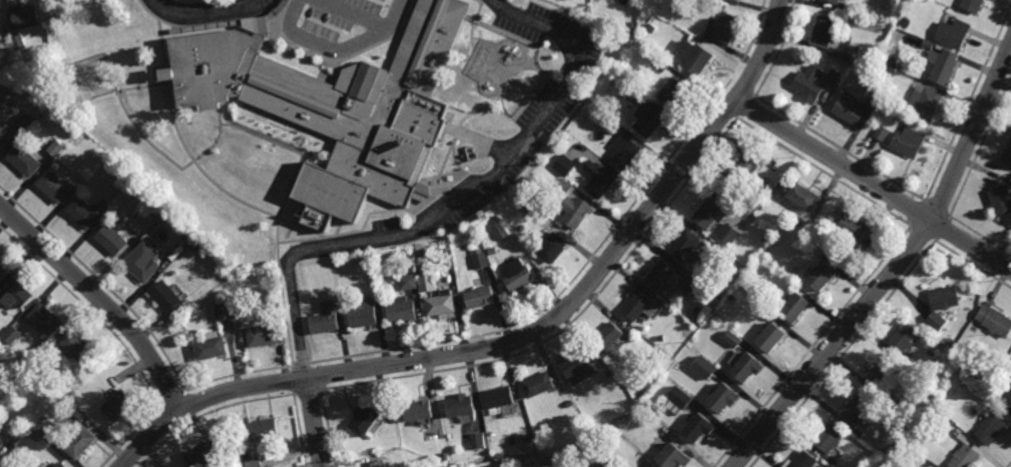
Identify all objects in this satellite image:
building: (834, 1)
building: (971, 5)
building: (512, 7)
road: (207, 12)
building: (24, 14)
building: (499, 26)
building: (724, 26)
building: (650, 27)
building: (822, 30)
building: (577, 31)
building: (951, 33)
building: (18, 41)
building: (927, 46)
road: (335, 49)
building: (529, 53)
building: (488, 55)
building: (567, 55)
building: (692, 56)
building: (846, 56)
building: (659, 63)
building: (942, 65)
building: (18, 69)
building: (833, 76)
building: (478, 79)
building: (557, 84)
building: (807, 84)
building: (446, 89)
building: (672, 92)
building: (633, 94)
building: (924, 104)
building: (337, 107)
building: (854, 107)
building: (547, 108)
building: (505, 111)
building: (26, 119)
building: (647, 119)
building: (621, 129)
building: (6, 134)
building: (881, 134)
building: (907, 143)
building: (55, 147)
building: (624, 151)
building: (1007, 155)
building: (25, 159)
building: (565, 165)
building: (735, 168)
building: (600, 180)
road: (874, 184)
building: (53, 186)
building: (564, 186)
building: (764, 186)
building: (139, 187)
building: (782, 187)
building: (801, 196)
building: (1000, 201)
road: (458, 204)
building: (530, 209)
building: (84, 212)
building: (575, 212)
building: (708, 213)
building: (854, 228)
building: (501, 231)
building: (187, 235)
building: (728, 235)
building: (816, 238)
building: (764, 239)
building: (111, 240)
building: (197, 245)
building: (552, 245)
building: (685, 245)
building: (493, 251)
building: (366, 258)
building: (142, 261)
building: (481, 261)
building: (2, 269)
road: (894, 270)
building: (794, 272)
building: (659, 274)
building: (519, 275)
building: (821, 276)
building: (672, 278)
building: (427, 282)
building: (409, 283)
building: (701, 290)
building: (15, 293)
building: (165, 296)
building: (944, 297)
building: (480, 298)
road: (100, 300)
building: (442, 303)
building: (636, 306)
building: (794, 308)
building: (402, 309)
building: (224, 311)
building: (363, 314)
building: (45, 318)
building: (326, 319)
building: (642, 319)
building: (937, 320)
building: (995, 321)
building: (12, 335)
road: (524, 335)
building: (263, 336)
building: (608, 337)
building: (770, 337)
building: (904, 337)
building: (731, 339)
building: (951, 341)
building: (77, 345)
building: (211, 346)
building: (578, 366)
building: (704, 368)
building: (746, 368)
building: (879, 372)
building: (643, 383)
building: (539, 385)
building: (71, 394)
building: (679, 397)
building: (722, 399)
building: (502, 400)
building: (892, 400)
building: (1008, 402)
building: (568, 404)
building: (118, 405)
building: (461, 406)
building: (857, 409)
building: (418, 411)
road: (313, 421)
building: (365, 421)
building: (622, 422)
building: (44, 426)
building: (698, 428)
building: (265, 429)
building: (991, 429)
building: (828, 437)
building: (529, 439)
building: (477, 441)
building: (1, 443)
building: (81, 443)
building: (886, 451)
building: (965, 456)
building: (201, 457)
building: (673, 457)
building: (547, 459)
building: (561, 459)
building: (254, 460)
building: (804, 460)
building: (60, 465)
building: (375, 465)
building: (864, 465)
building: (44, 466)

